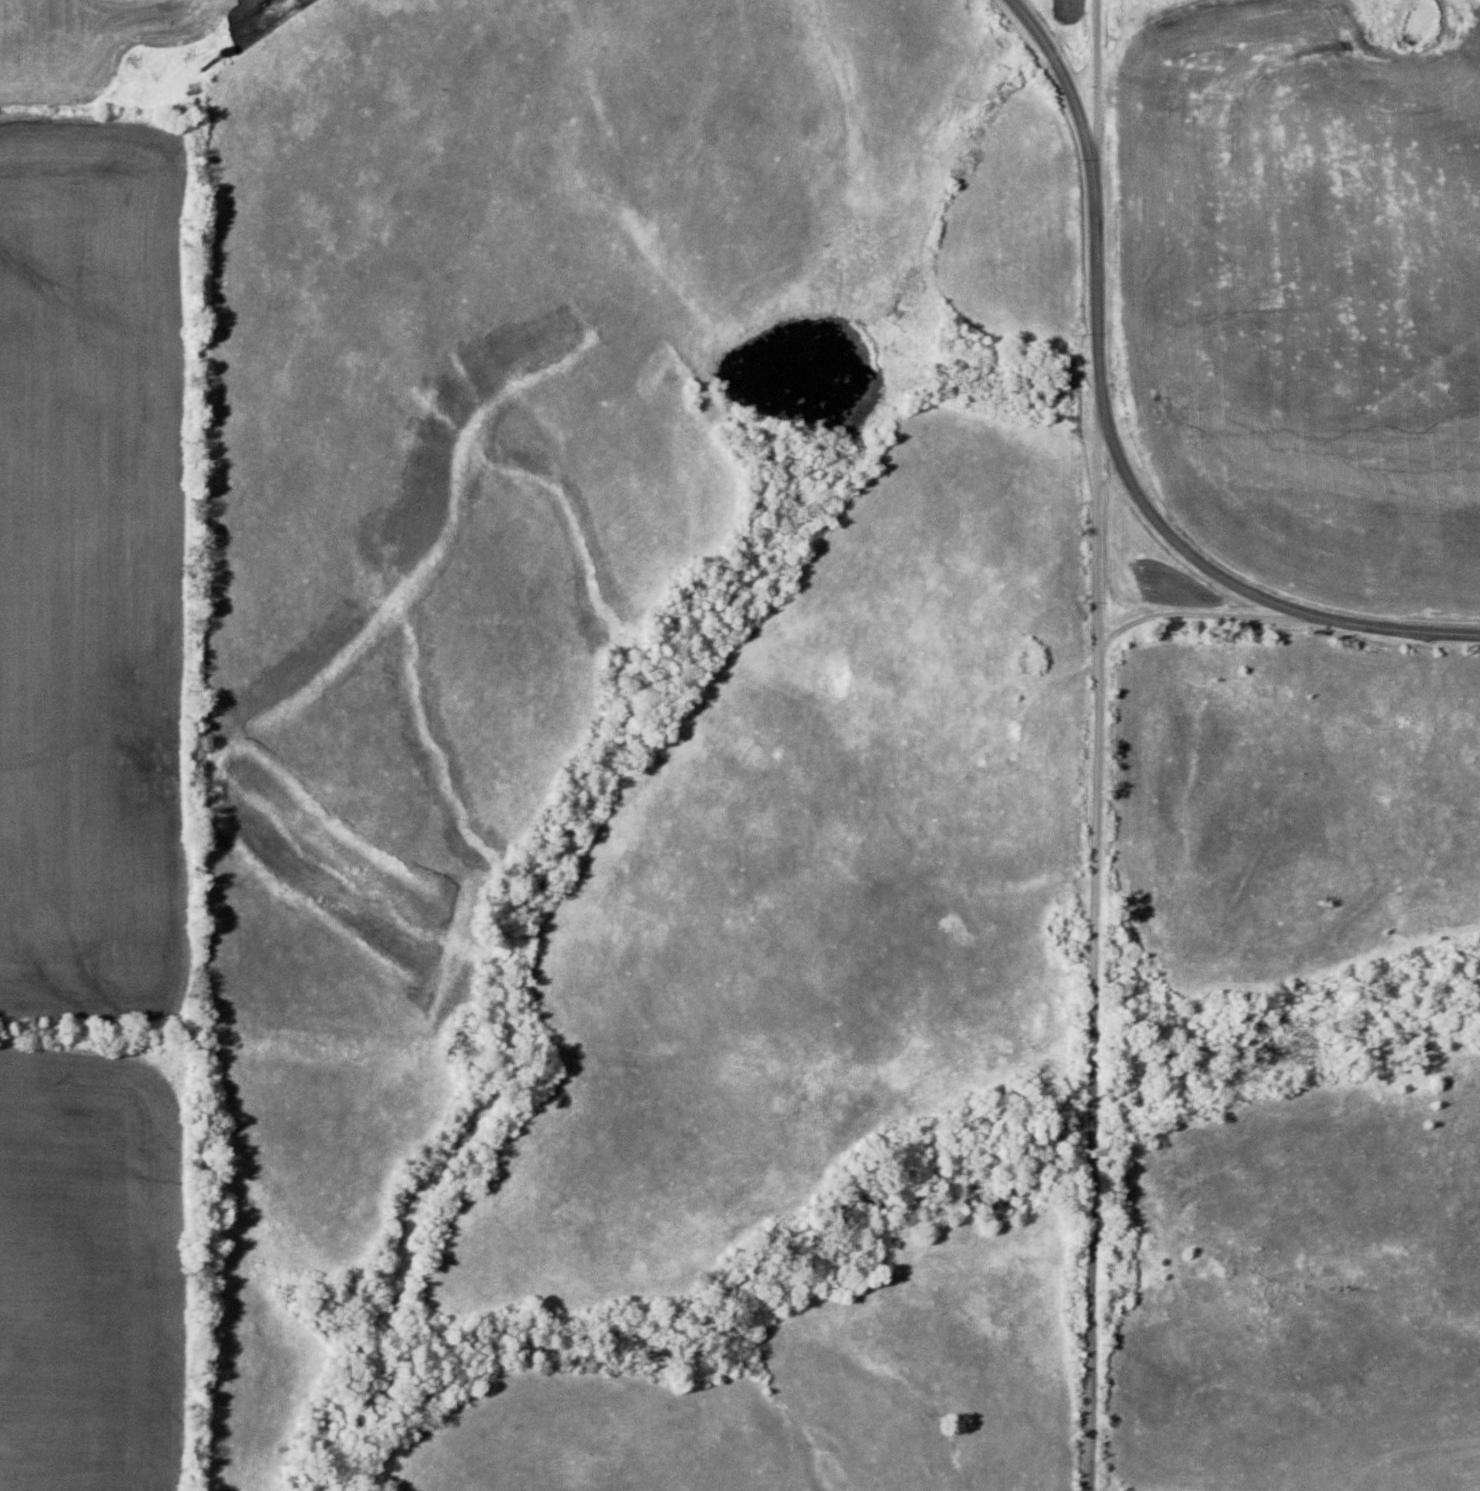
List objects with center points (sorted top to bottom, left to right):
road: (1096, 94)
road: (1091, 192)
road: (1244, 588)
road: (1209, 614)
road: (1101, 947)

